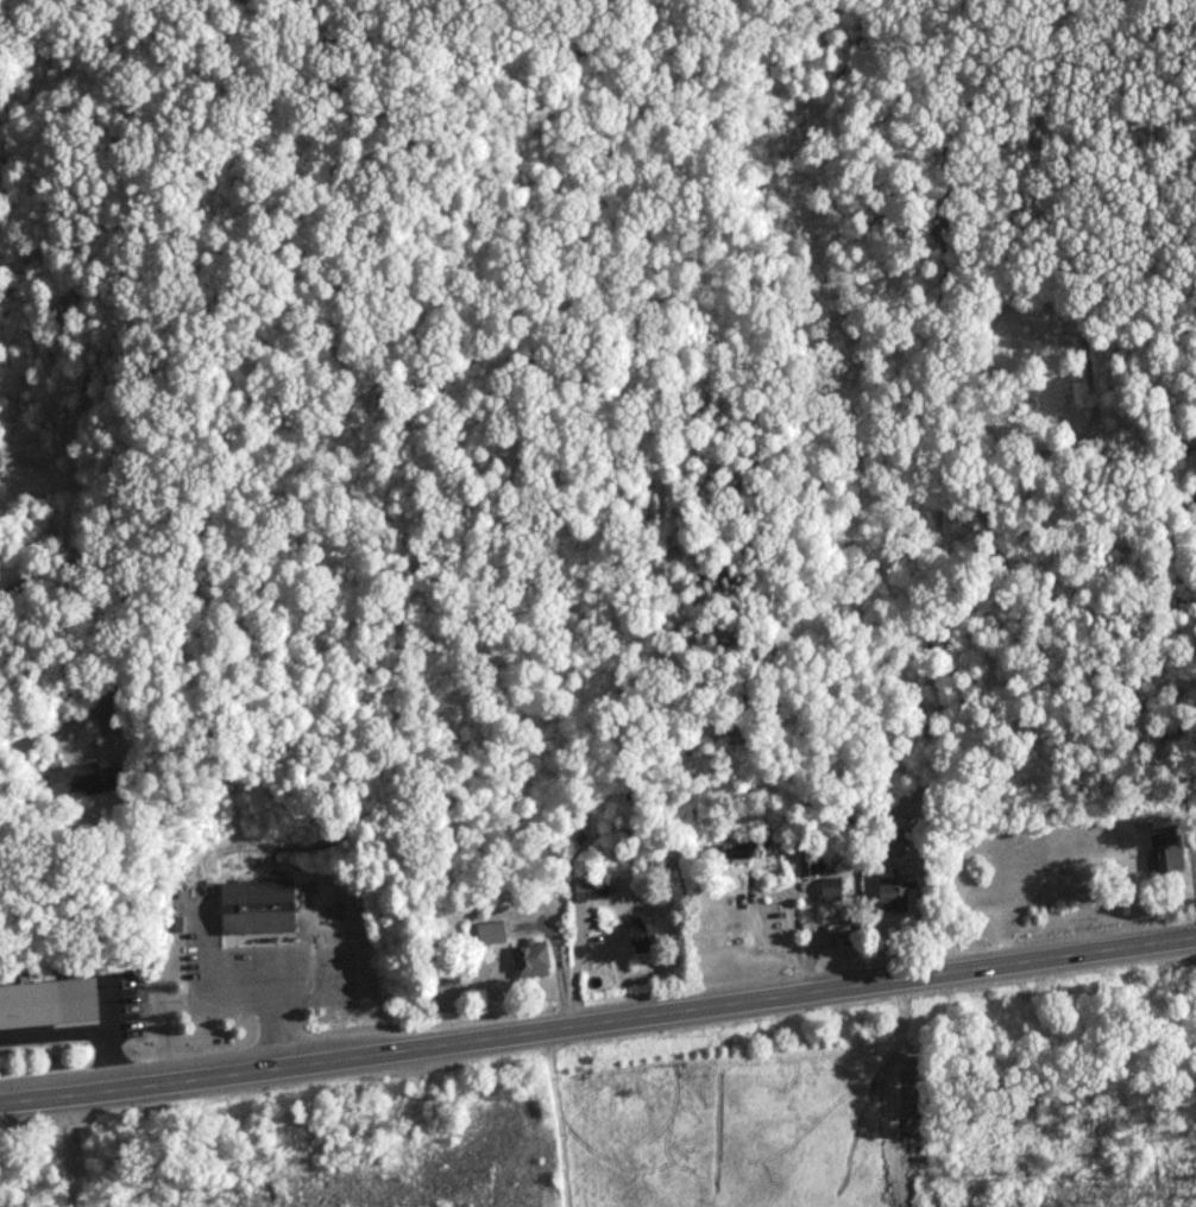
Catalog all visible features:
road: (127, 632)
building: (113, 777)
building: (70, 779)
building: (886, 842)
building: (1166, 849)
building: (729, 854)
building: (807, 866)
building: (829, 891)
building: (890, 898)
building: (254, 908)
road: (744, 909)
road: (792, 925)
building: (489, 934)
building: (641, 943)
building: (528, 961)
road: (232, 982)
building: (46, 1004)
road: (272, 1011)
road: (676, 1012)
road: (51, 1034)
road: (111, 1062)
road: (78, 1095)
road: (68, 1151)

